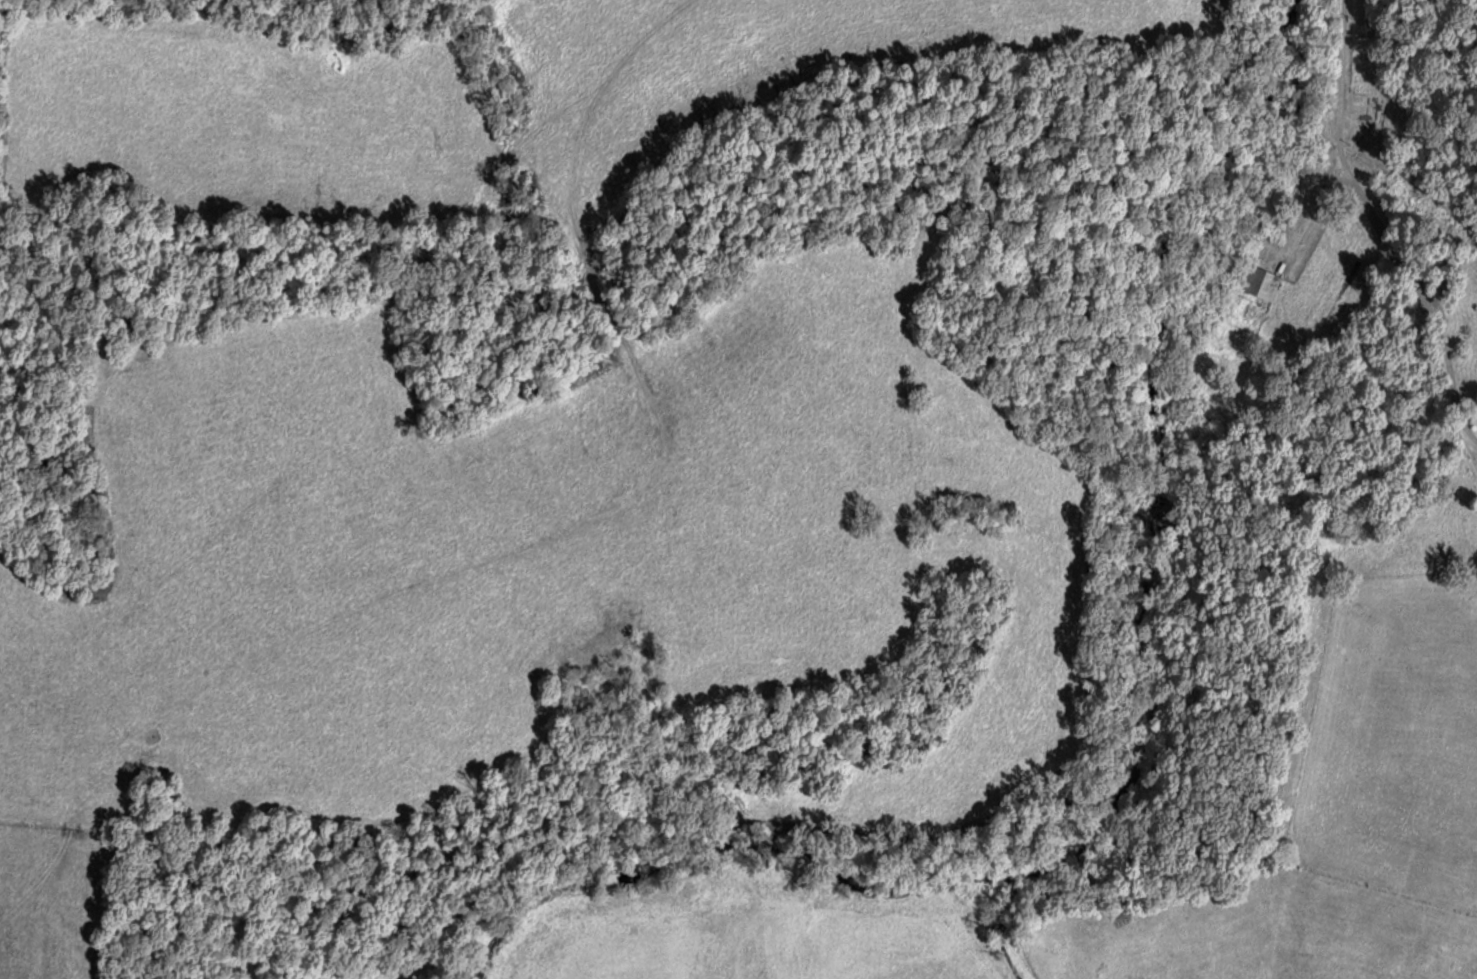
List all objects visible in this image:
road: (1387, 213)

